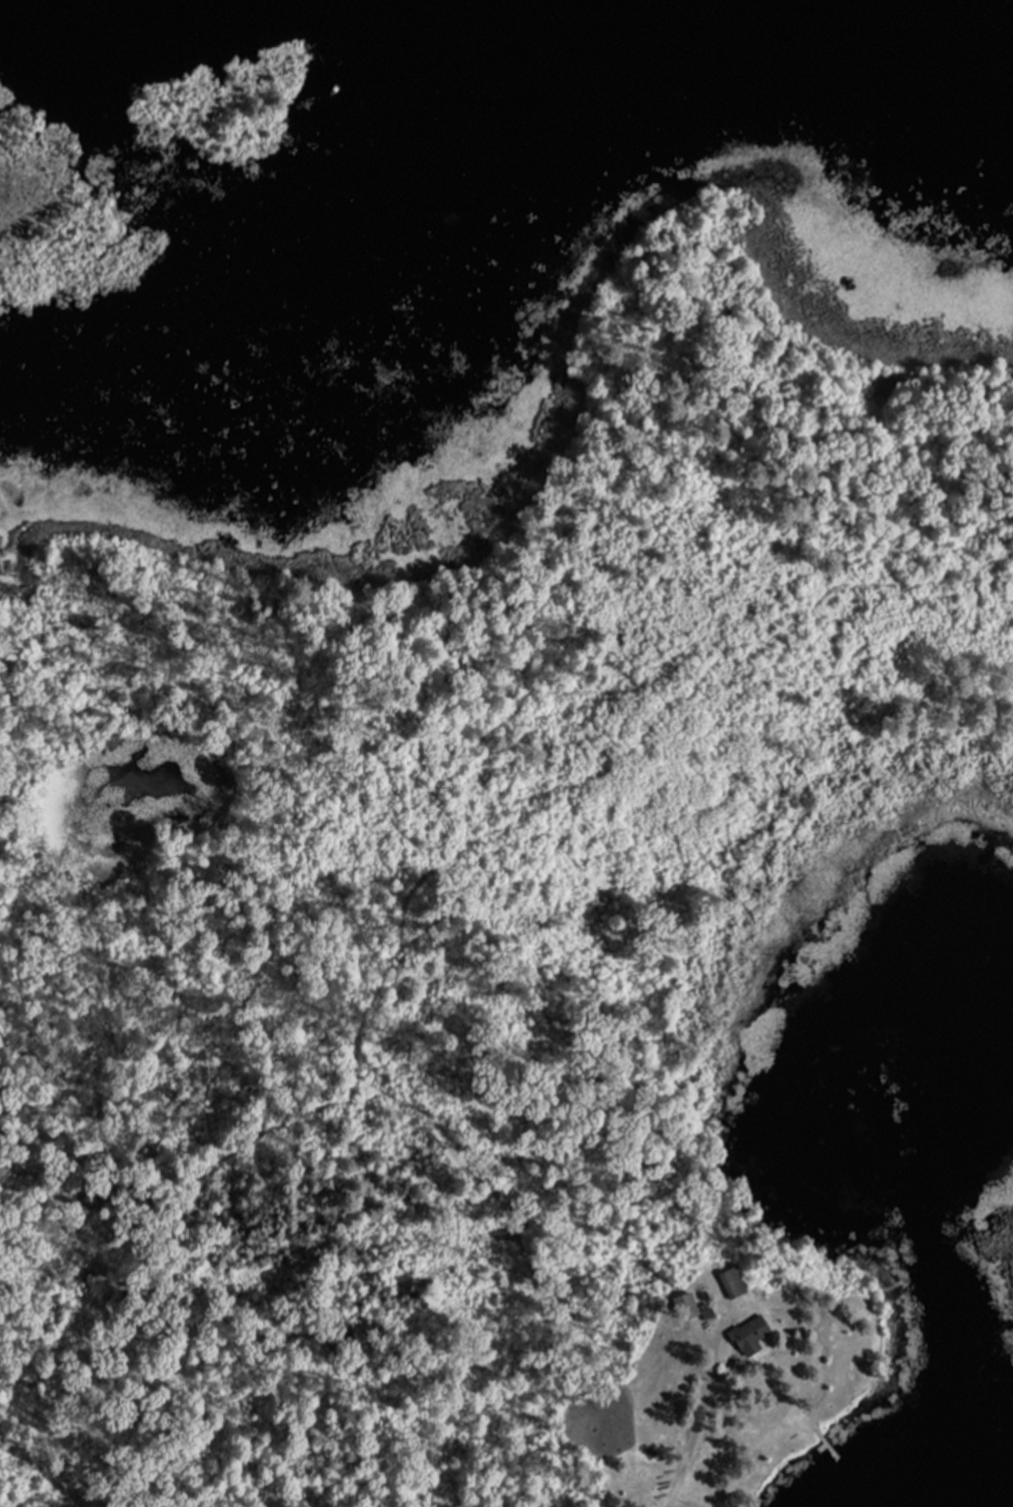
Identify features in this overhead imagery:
building: (735, 1283)
building: (756, 1335)
road: (781, 1424)

